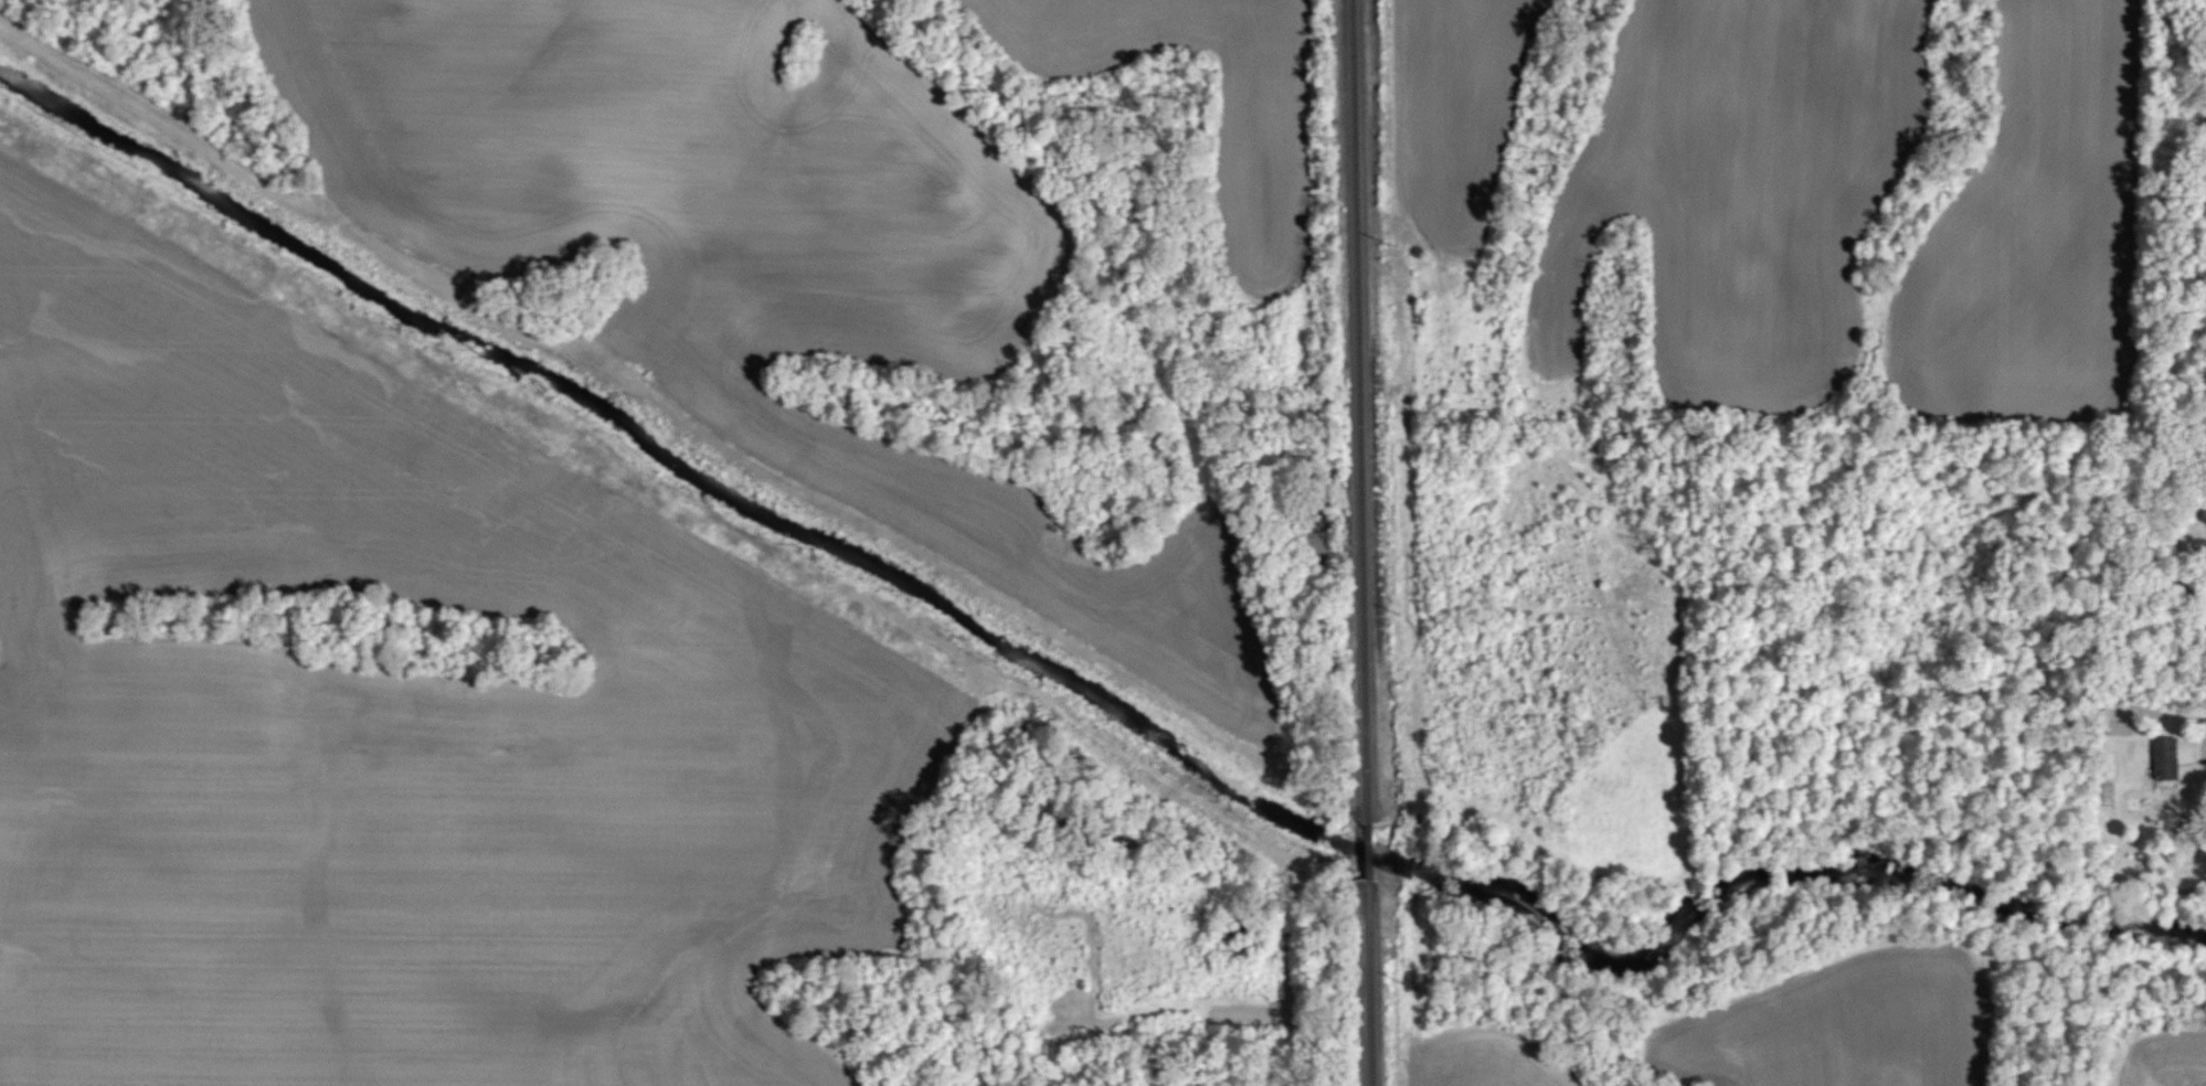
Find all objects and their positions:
railway: (1364, 411)
building: (2205, 727)
railway: (1374, 850)
railway: (1376, 982)

